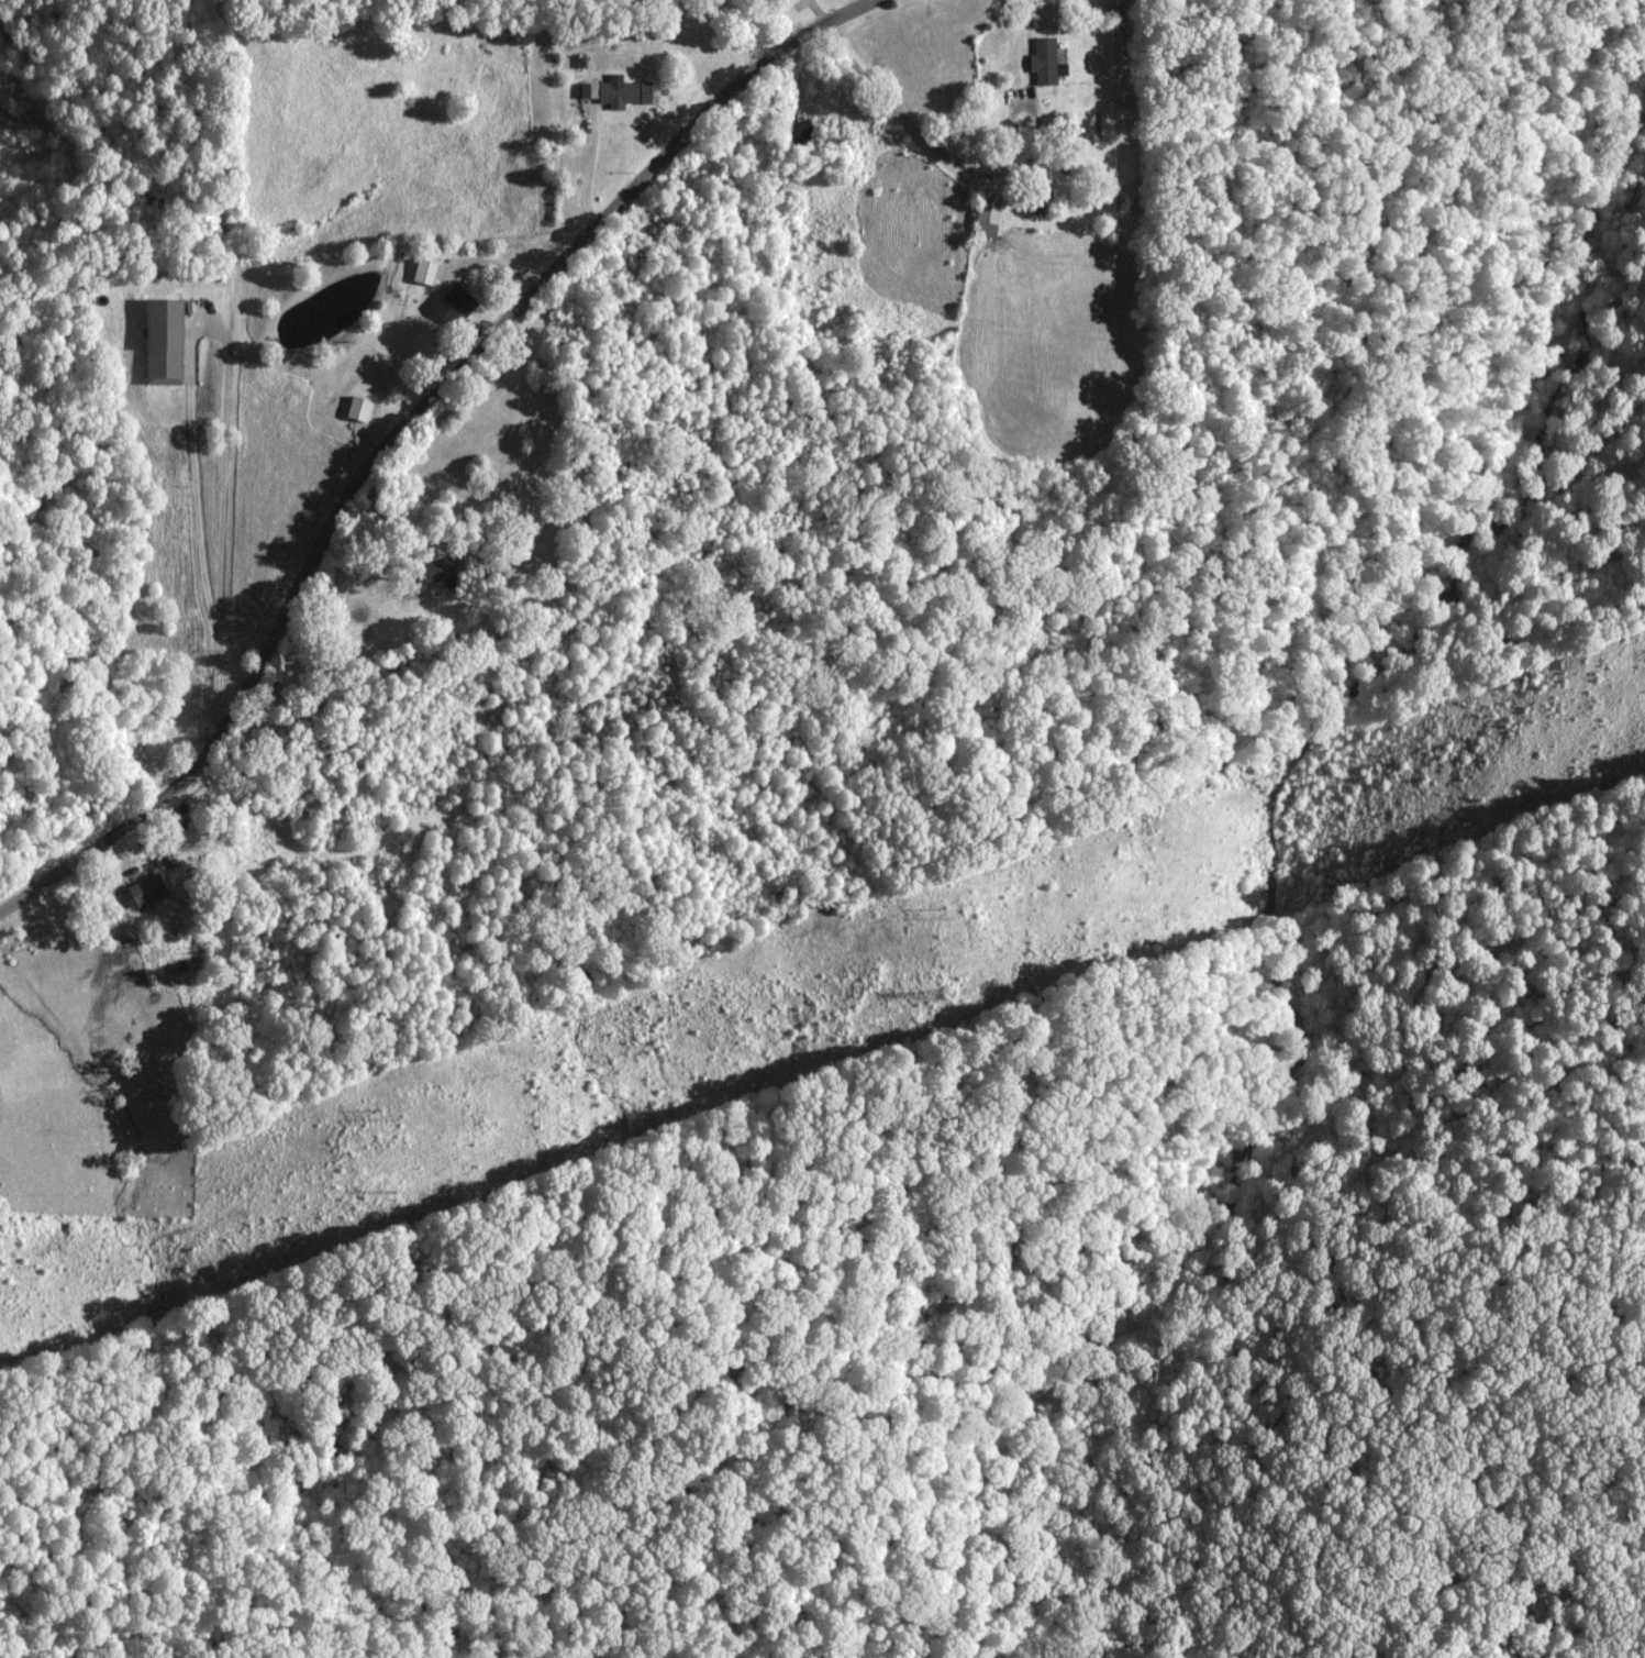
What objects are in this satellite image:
building: (1044, 63)
building: (614, 93)
building: (915, 196)
building: (1040, 202)
building: (983, 217)
building: (422, 272)
building: (455, 303)
building: (160, 341)
building: (356, 409)
road: (399, 427)
building: (442, 572)
building: (144, 891)

